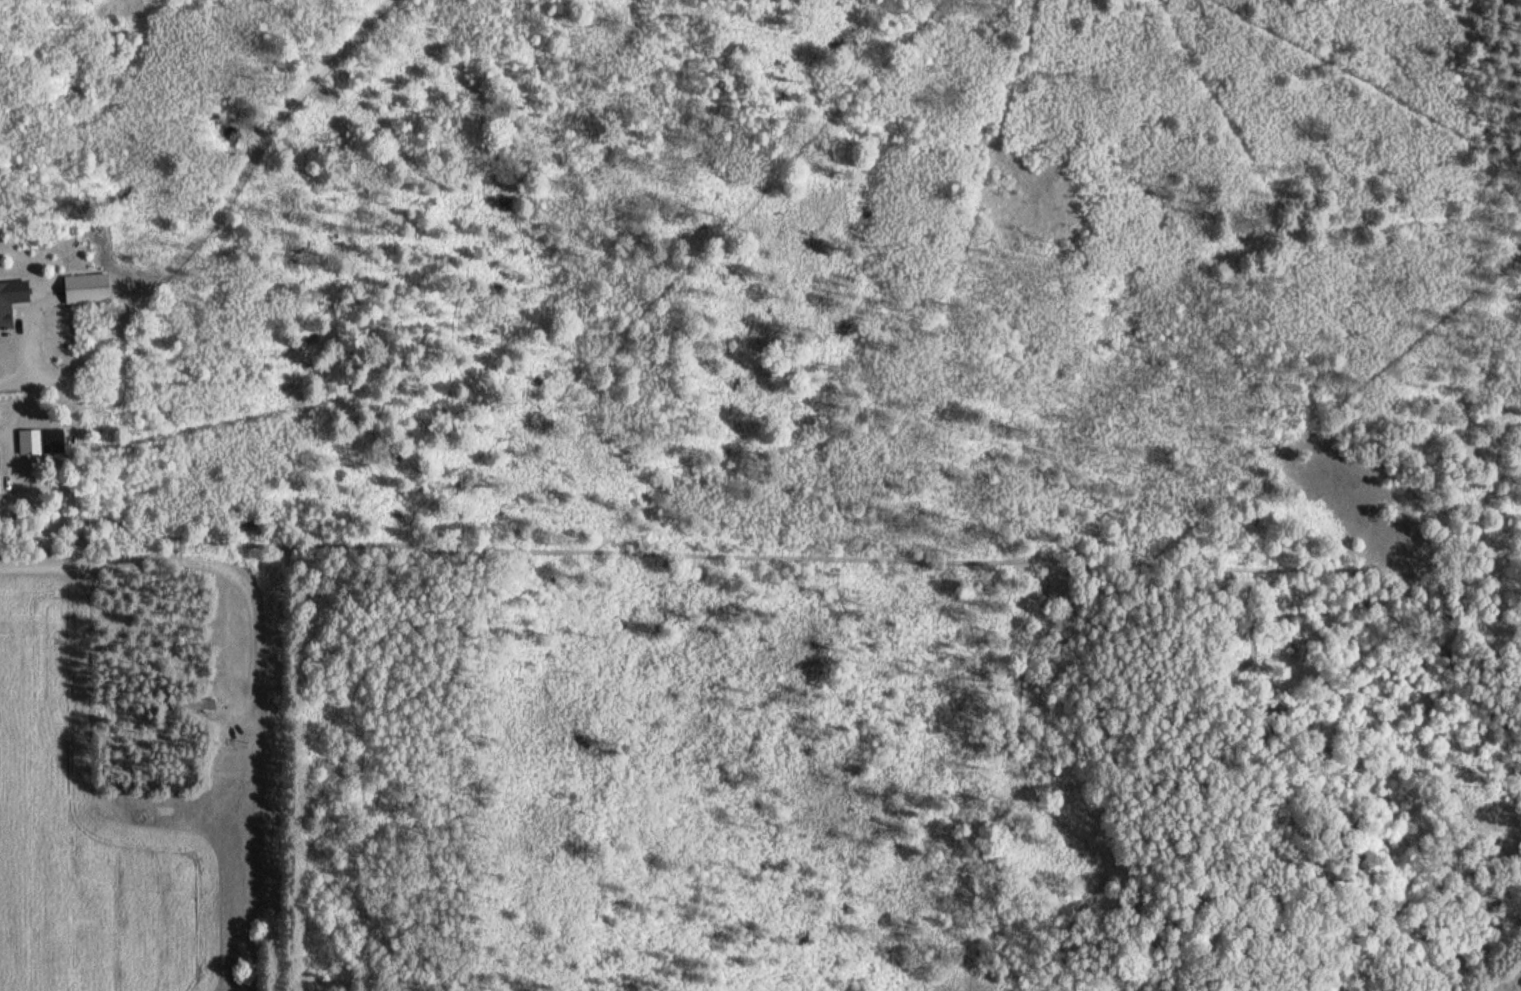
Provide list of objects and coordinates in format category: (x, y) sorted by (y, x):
road: (238, 186)
building: (80, 281)
building: (11, 297)
road: (30, 342)
road: (14, 379)
road: (51, 380)
road: (14, 416)
building: (42, 439)
road: (11, 451)
building: (0, 502)
road: (796, 556)
road: (204, 562)
building: (191, 707)

